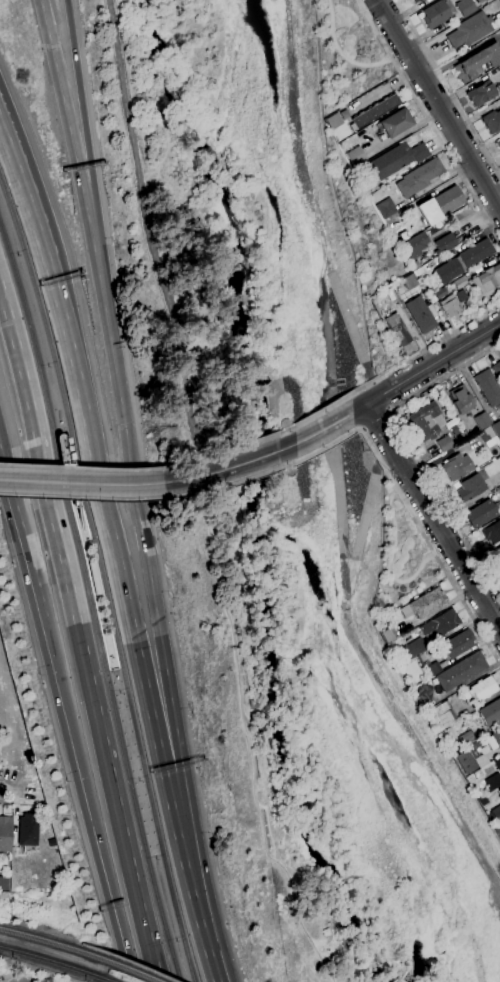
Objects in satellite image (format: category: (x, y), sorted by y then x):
building: (417, 0)
building: (481, 1)
building: (489, 1)
building: (465, 7)
road: (363, 10)
building: (437, 13)
building: (470, 29)
road: (340, 53)
park: (347, 54)
building: (477, 62)
road: (447, 88)
building: (482, 92)
road: (438, 103)
building: (374, 111)
building: (333, 120)
building: (492, 120)
building: (394, 124)
road: (295, 129)
road: (434, 129)
building: (498, 143)
road: (9, 149)
road: (9, 153)
building: (356, 155)
building: (397, 159)
road: (78, 169)
road: (91, 169)
building: (419, 177)
building: (370, 186)
building: (445, 201)
building: (386, 208)
building: (404, 212)
road: (32, 218)
building: (428, 221)
road: (147, 239)
building: (445, 243)
building: (416, 245)
building: (463, 261)
building: (415, 265)
building: (423, 271)
building: (487, 278)
building: (411, 281)
building: (460, 282)
building: (389, 294)
building: (451, 306)
building: (422, 314)
road: (347, 317)
road: (324, 328)
building: (398, 329)
road: (425, 348)
road: (431, 363)
building: (496, 369)
road: (373, 382)
building: (499, 383)
building: (488, 386)
road: (381, 396)
building: (461, 399)
road: (357, 407)
road: (322, 410)
road: (390, 410)
road: (376, 419)
building: (482, 420)
building: (427, 421)
road: (332, 424)
road: (323, 427)
building: (496, 428)
road: (358, 429)
road: (364, 429)
road: (286, 430)
building: (455, 430)
building: (465, 435)
building: (489, 437)
road: (251, 443)
building: (445, 443)
road: (325, 445)
road: (287, 447)
road: (413, 447)
road: (253, 459)
road: (71, 462)
road: (192, 462)
road: (288, 464)
building: (457, 466)
road: (73, 468)
road: (80, 468)
road: (256, 475)
road: (195, 477)
road: (81, 483)
road: (7, 484)
building: (471, 487)
building: (499, 488)
road: (199, 491)
river: (260, 493)
road: (83, 498)
road: (78, 499)
building: (481, 513)
road: (431, 517)
building: (492, 532)
road: (360, 536)
road: (31, 545)
road: (431, 546)
building: (497, 554)
park: (401, 556)
road: (390, 559)
road: (31, 569)
railway: (103, 576)
building: (94, 577)
railway: (94, 577)
road: (124, 592)
railway: (90, 599)
building: (424, 604)
building: (441, 623)
road: (81, 632)
road: (160, 633)
building: (388, 635)
building: (457, 644)
building: (414, 647)
building: (433, 669)
building: (462, 671)
road: (378, 681)
building: (480, 690)
building: (424, 693)
building: (491, 711)
building: (444, 715)
building: (467, 738)
building: (494, 740)
building: (467, 761)
building: (479, 775)
building: (493, 781)
building: (499, 790)
road: (11, 792)
building: (499, 796)
building: (483, 800)
building: (494, 813)
road: (92, 814)
road: (16, 825)
building: (27, 832)
building: (5, 833)
building: (4, 884)
road: (497, 901)
railway: (54, 943)
road: (210, 955)
railway: (53, 963)
railway: (131, 971)
road: (131, 971)
road: (160, 977)

